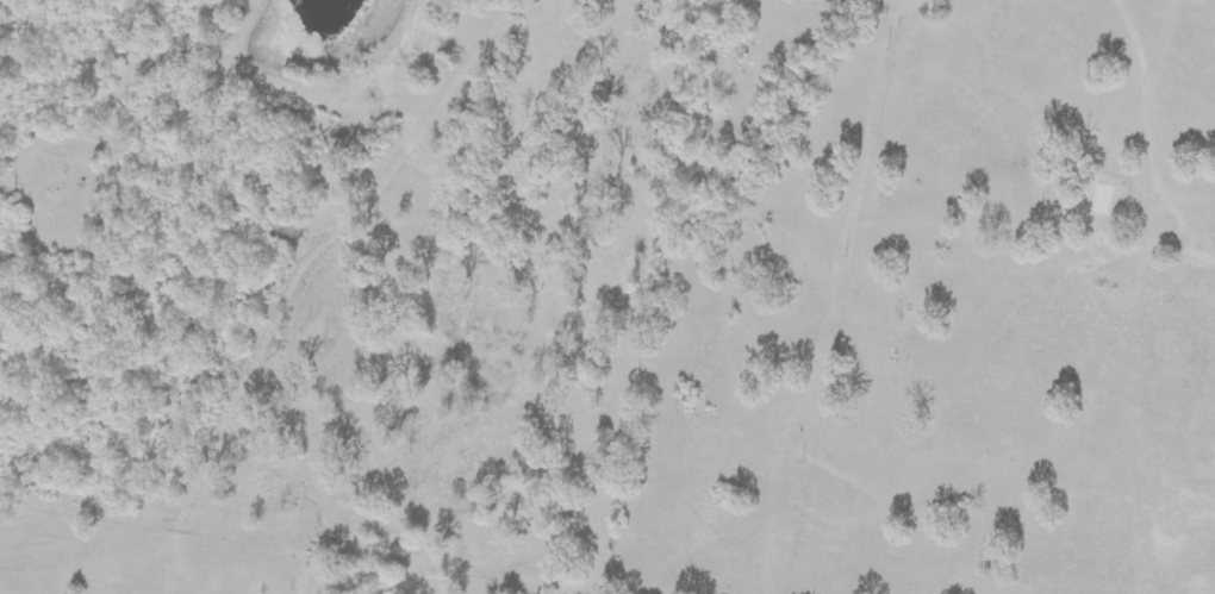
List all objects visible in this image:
road: (1194, 165)

